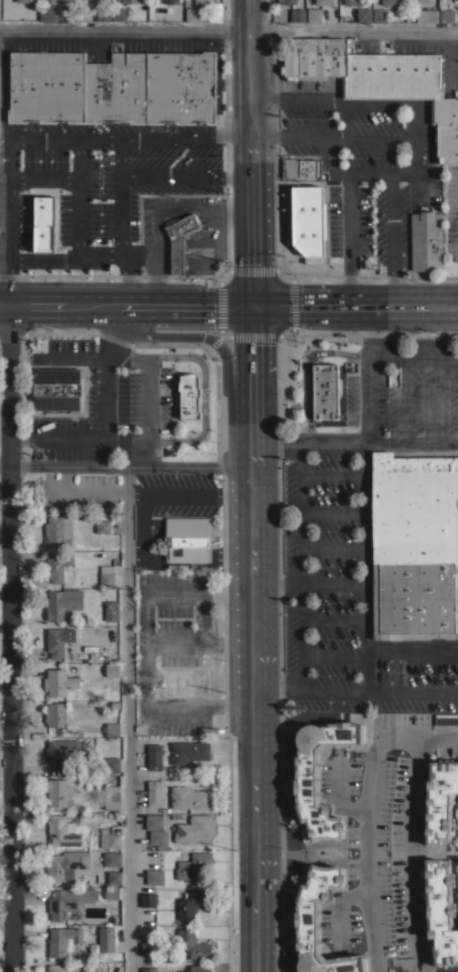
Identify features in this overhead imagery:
building: (24, 1)
building: (57, 1)
building: (91, 1)
building: (131, 1)
building: (170, 1)
building: (286, 1)
building: (419, 1)
building: (204, 2)
building: (324, 2)
building: (352, 2)
building: (390, 2)
building: (103, 13)
building: (56, 14)
building: (119, 14)
building: (192, 14)
building: (297, 14)
building: (314, 15)
building: (364, 15)
building: (380, 15)
building: (426, 15)
building: (446, 15)
road: (225, 29)
road: (451, 50)
building: (379, 78)
building: (113, 87)
road: (261, 99)
road: (341, 105)
building: (0, 110)
road: (375, 138)
road: (416, 138)
road: (88, 139)
road: (230, 139)
road: (263, 139)
road: (247, 153)
parking lot: (364, 162)
building: (304, 168)
road: (368, 173)
road: (405, 173)
road: (170, 175)
road: (234, 175)
road: (2, 184)
parking lot: (96, 190)
road: (344, 190)
road: (211, 206)
road: (119, 217)
road: (158, 218)
road: (4, 219)
road: (2, 220)
building: (308, 220)
parking lot: (452, 221)
building: (43, 223)
road: (80, 235)
building: (179, 239)
road: (392, 239)
building: (426, 241)
road: (192, 254)
road: (200, 254)
road: (2, 255)
road: (149, 255)
road: (177, 255)
road: (157, 272)
road: (370, 273)
road: (128, 276)
road: (4, 301)
road: (128, 303)
road: (4, 304)
road: (353, 305)
traffic signals: (249, 306)
road: (369, 330)
road: (414, 355)
building: (56, 388)
building: (325, 391)
building: (189, 395)
road: (370, 398)
road: (4, 416)
road: (303, 440)
road: (124, 463)
road: (360, 463)
road: (196, 494)
road: (299, 511)
road: (142, 524)
building: (103, 526)
building: (58, 530)
building: (187, 540)
building: (414, 543)
building: (59, 566)
building: (107, 571)
road: (275, 583)
road: (331, 583)
building: (62, 603)
building: (111, 611)
road: (145, 616)
road: (10, 637)
road: (300, 637)
road: (252, 638)
building: (57, 643)
road: (411, 649)
building: (112, 669)
building: (59, 682)
road: (364, 692)
road: (412, 692)
road: (167, 708)
building: (55, 714)
road: (129, 717)
building: (446, 718)
building: (112, 728)
road: (438, 733)
building: (189, 751)
building: (60, 753)
building: (154, 757)
building: (111, 764)
building: (307, 786)
building: (154, 792)
building: (58, 793)
building: (112, 797)
building: (189, 797)
building: (440, 800)
building: (154, 821)
building: (194, 828)
building: (63, 831)
building: (158, 838)
building: (109, 839)
road: (412, 839)
road: (370, 843)
building: (112, 858)
building: (65, 864)
building: (194, 865)
building: (154, 876)
building: (114, 877)
building: (111, 893)
building: (148, 899)
building: (68, 901)
building: (193, 903)
building: (441, 911)
building: (320, 923)
building: (106, 938)
building: (63, 940)
building: (193, 944)
building: (148, 948)
building: (56, 968)
building: (199, 968)
building: (148, 969)

